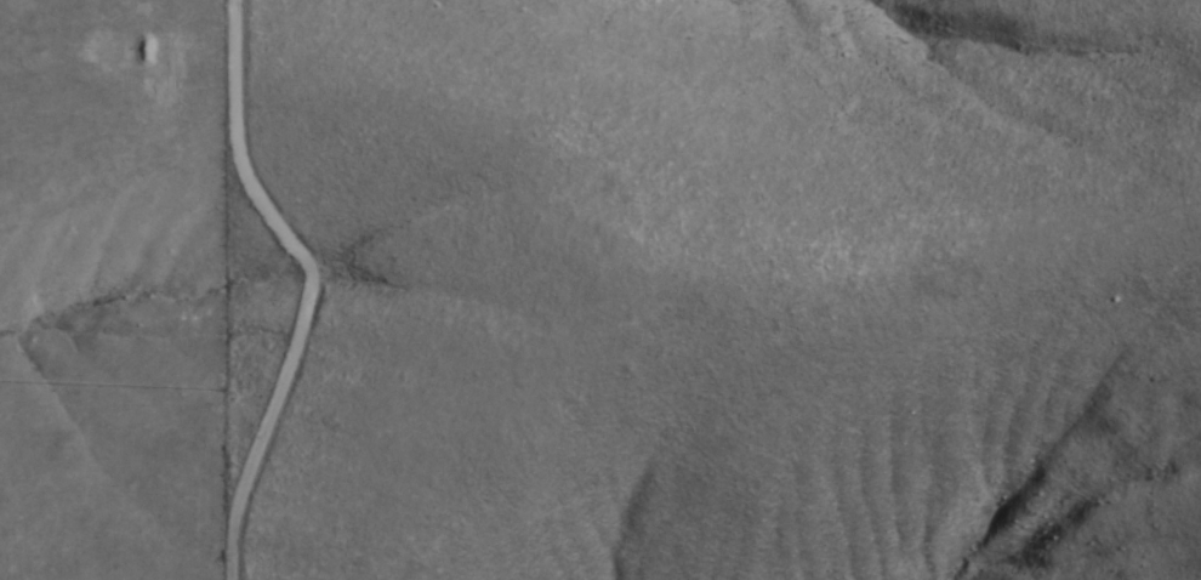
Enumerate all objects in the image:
railway: (853, 178)
railway: (832, 188)
road: (319, 286)

